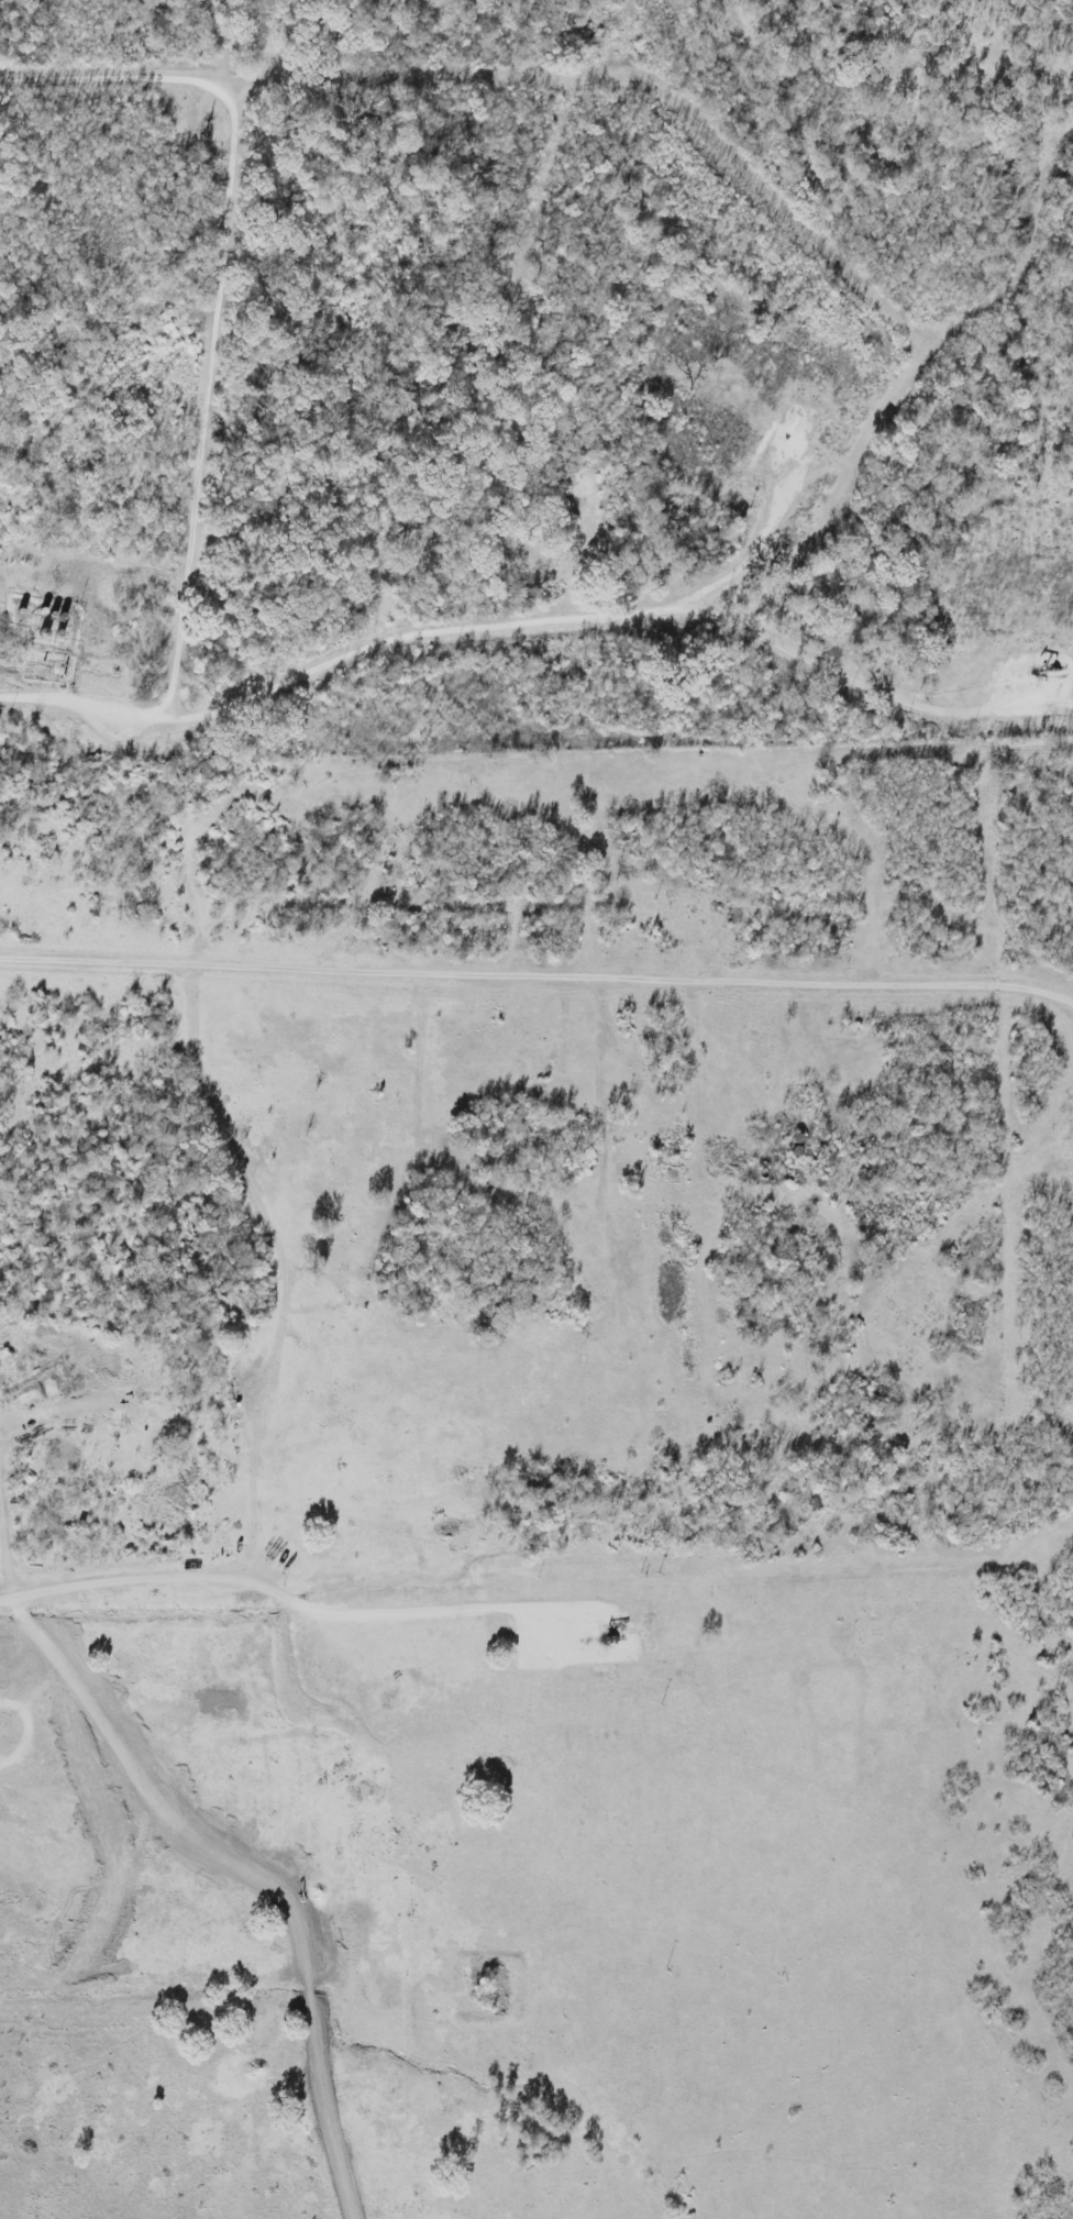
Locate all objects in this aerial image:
road: (910, 362)
road: (211, 402)
road: (538, 980)
road: (275, 1594)
road: (5, 1603)
road: (263, 1866)

